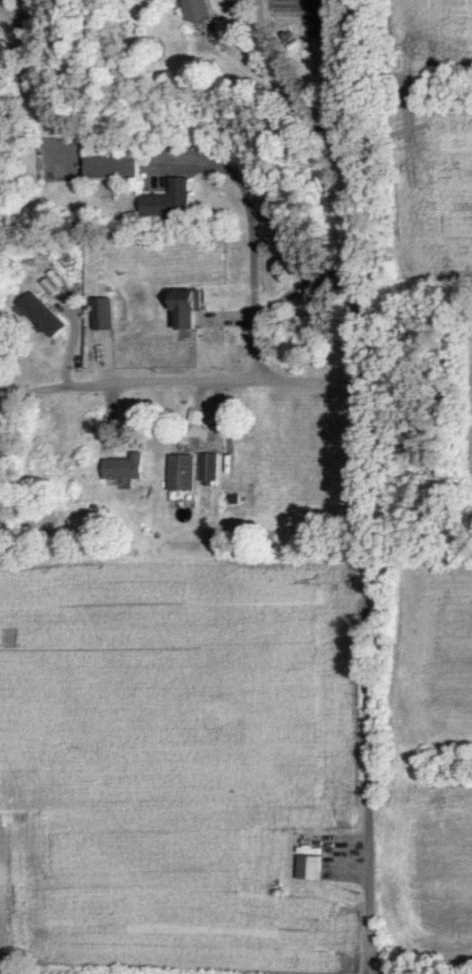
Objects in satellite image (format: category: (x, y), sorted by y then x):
building: (200, 9)
road: (360, 97)
building: (27, 164)
building: (108, 165)
road: (349, 182)
building: (162, 198)
road: (240, 240)
building: (323, 279)
building: (179, 307)
building: (45, 313)
road: (176, 381)
building: (188, 415)
building: (205, 465)
building: (122, 466)
building: (179, 471)
building: (202, 506)
road: (367, 681)
building: (308, 866)

